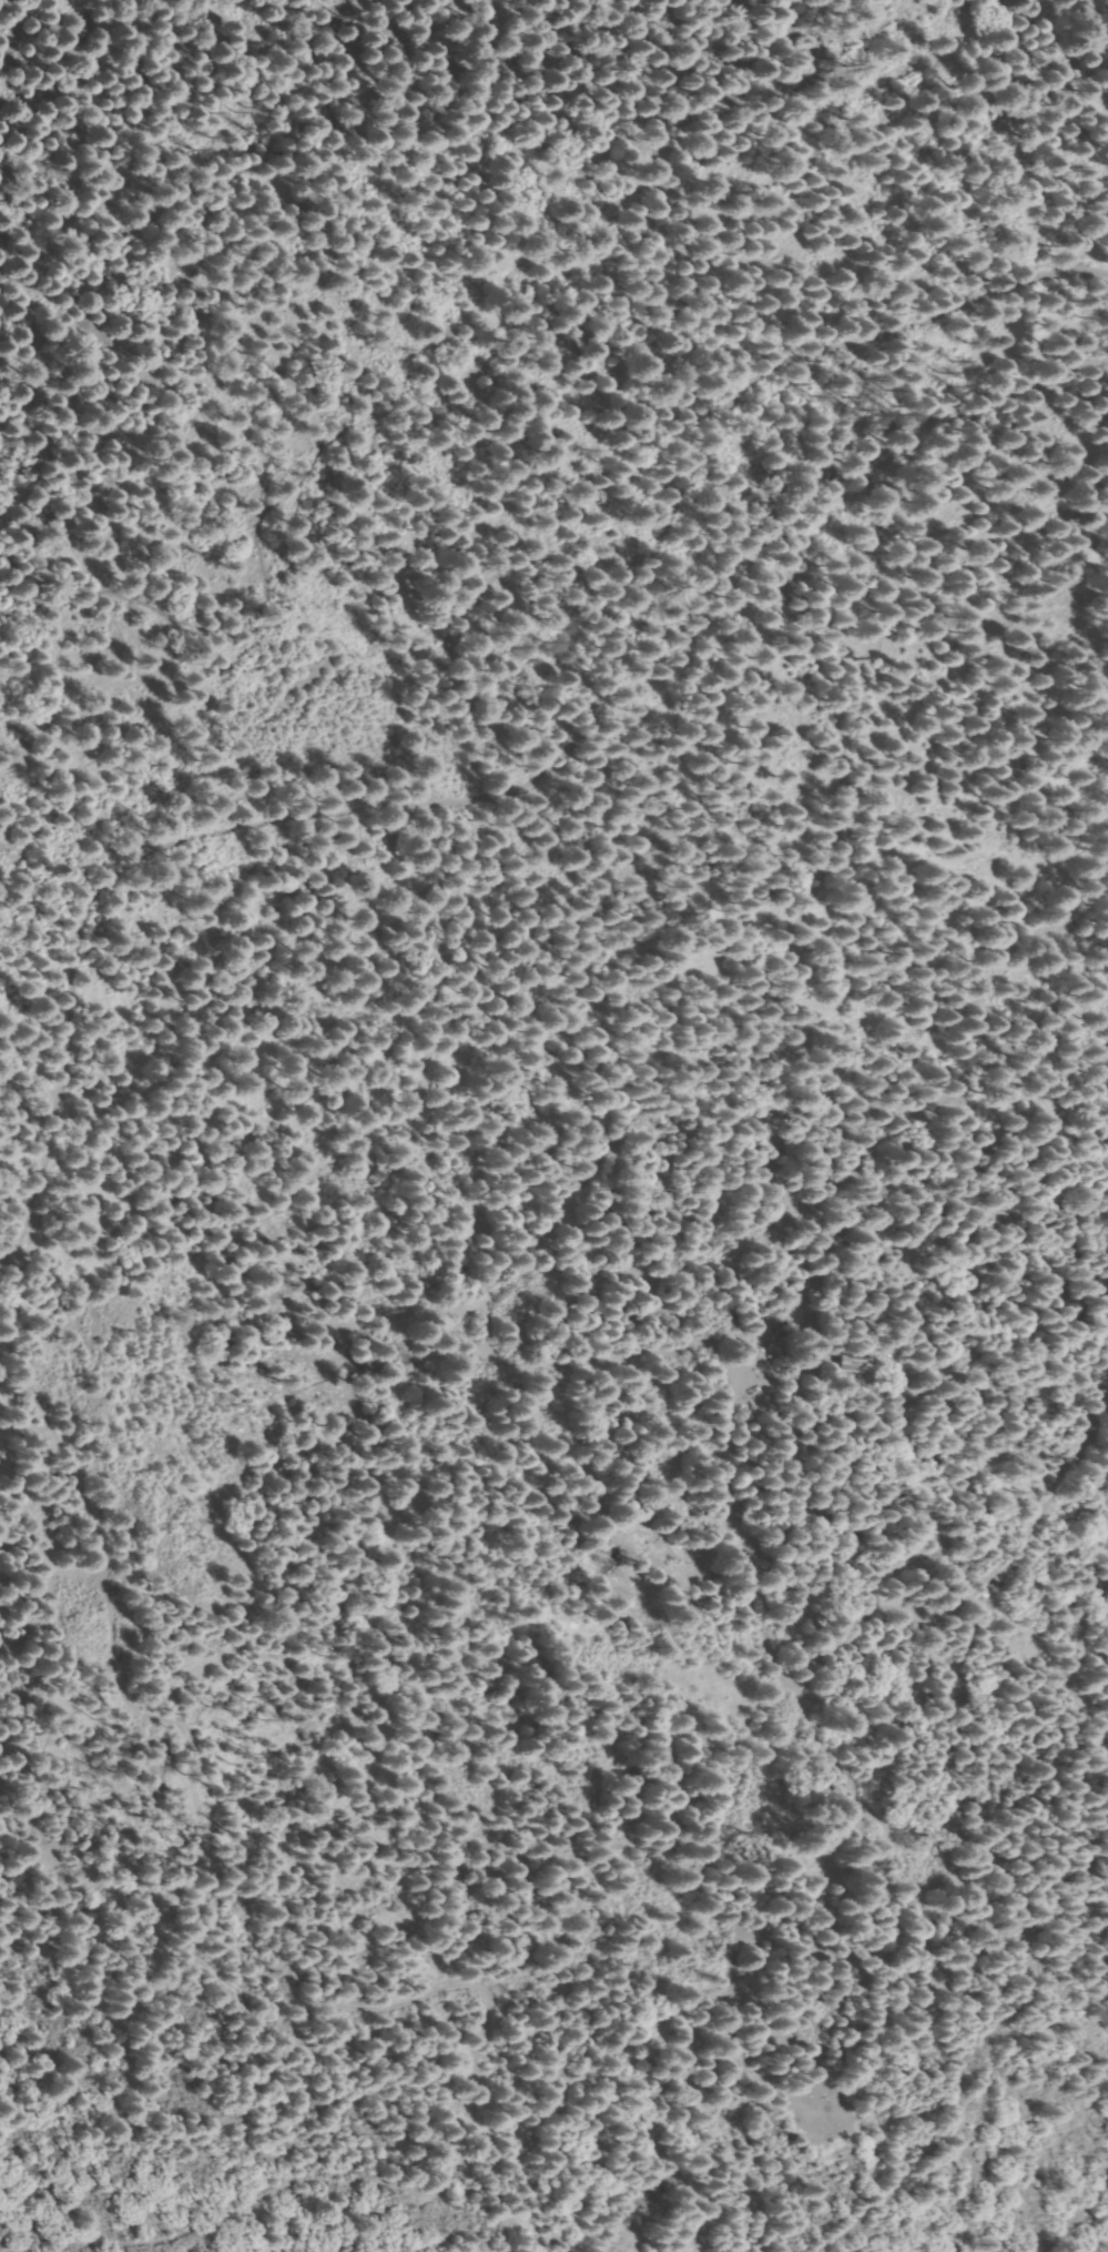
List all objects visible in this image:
road: (540, 796)
crop: (180, 1403)

